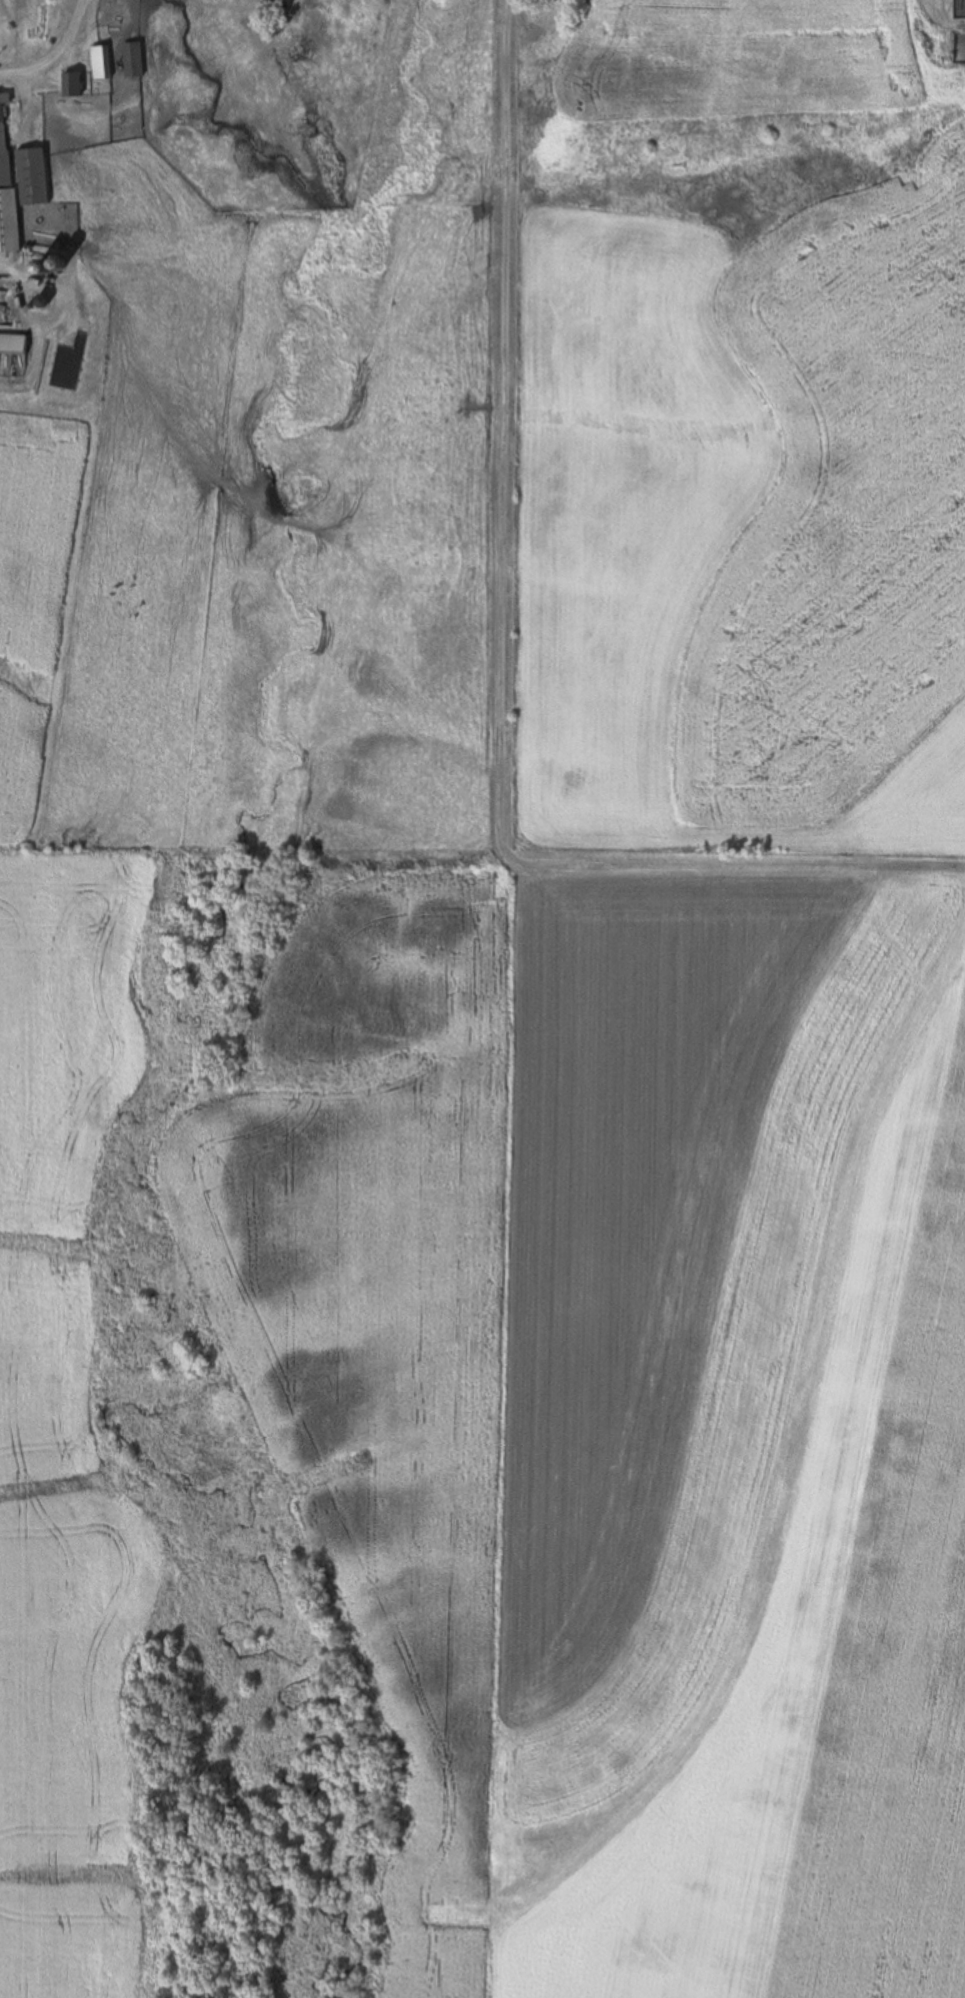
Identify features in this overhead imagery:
building: (40, 26)
road: (52, 52)
building: (134, 60)
building: (101, 63)
building: (73, 85)
building: (33, 177)
building: (6, 184)
building: (13, 344)

